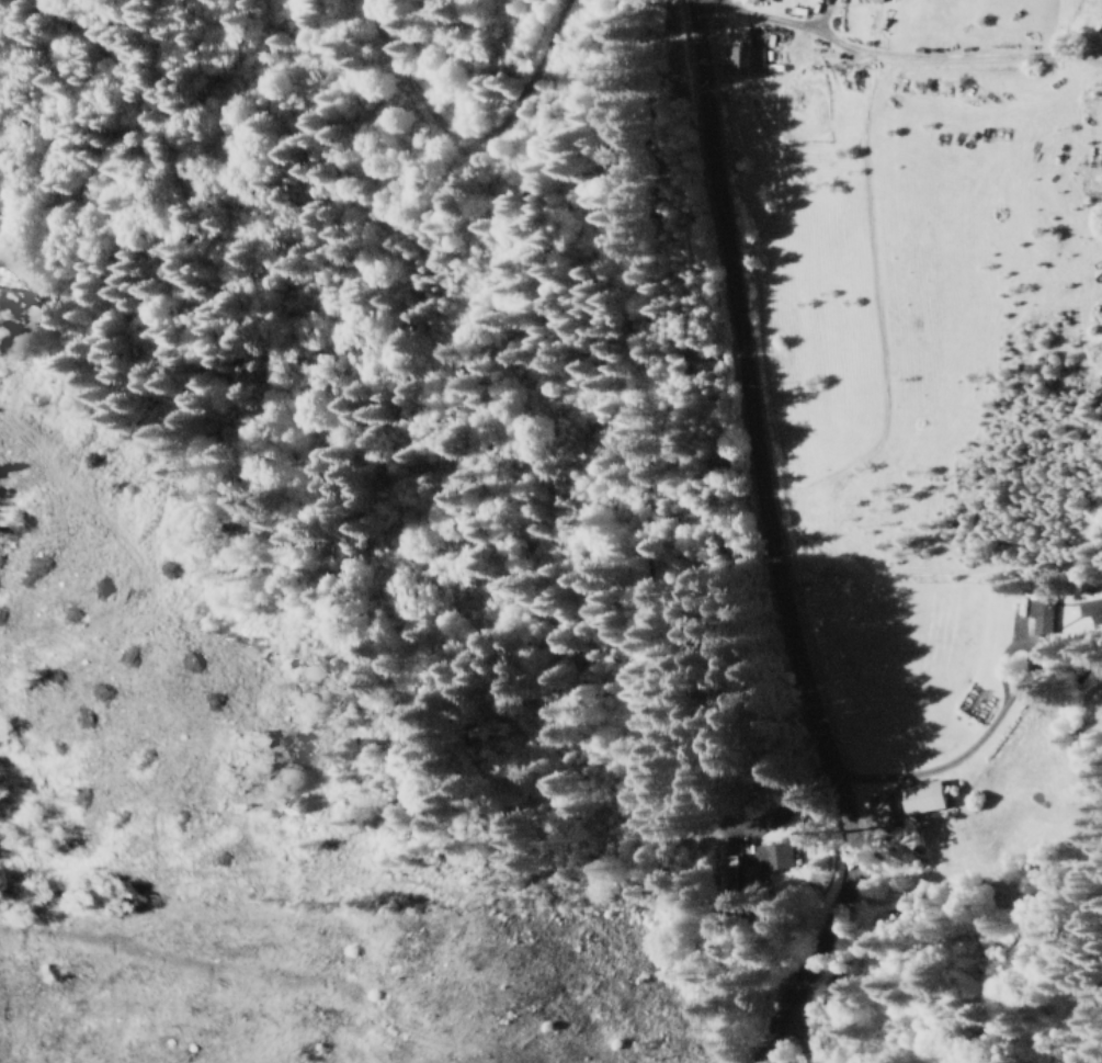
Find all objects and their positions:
building: (740, 56)
road: (774, 540)
building: (1090, 608)
building: (919, 795)
building: (875, 808)
building: (757, 863)
road: (796, 1048)

